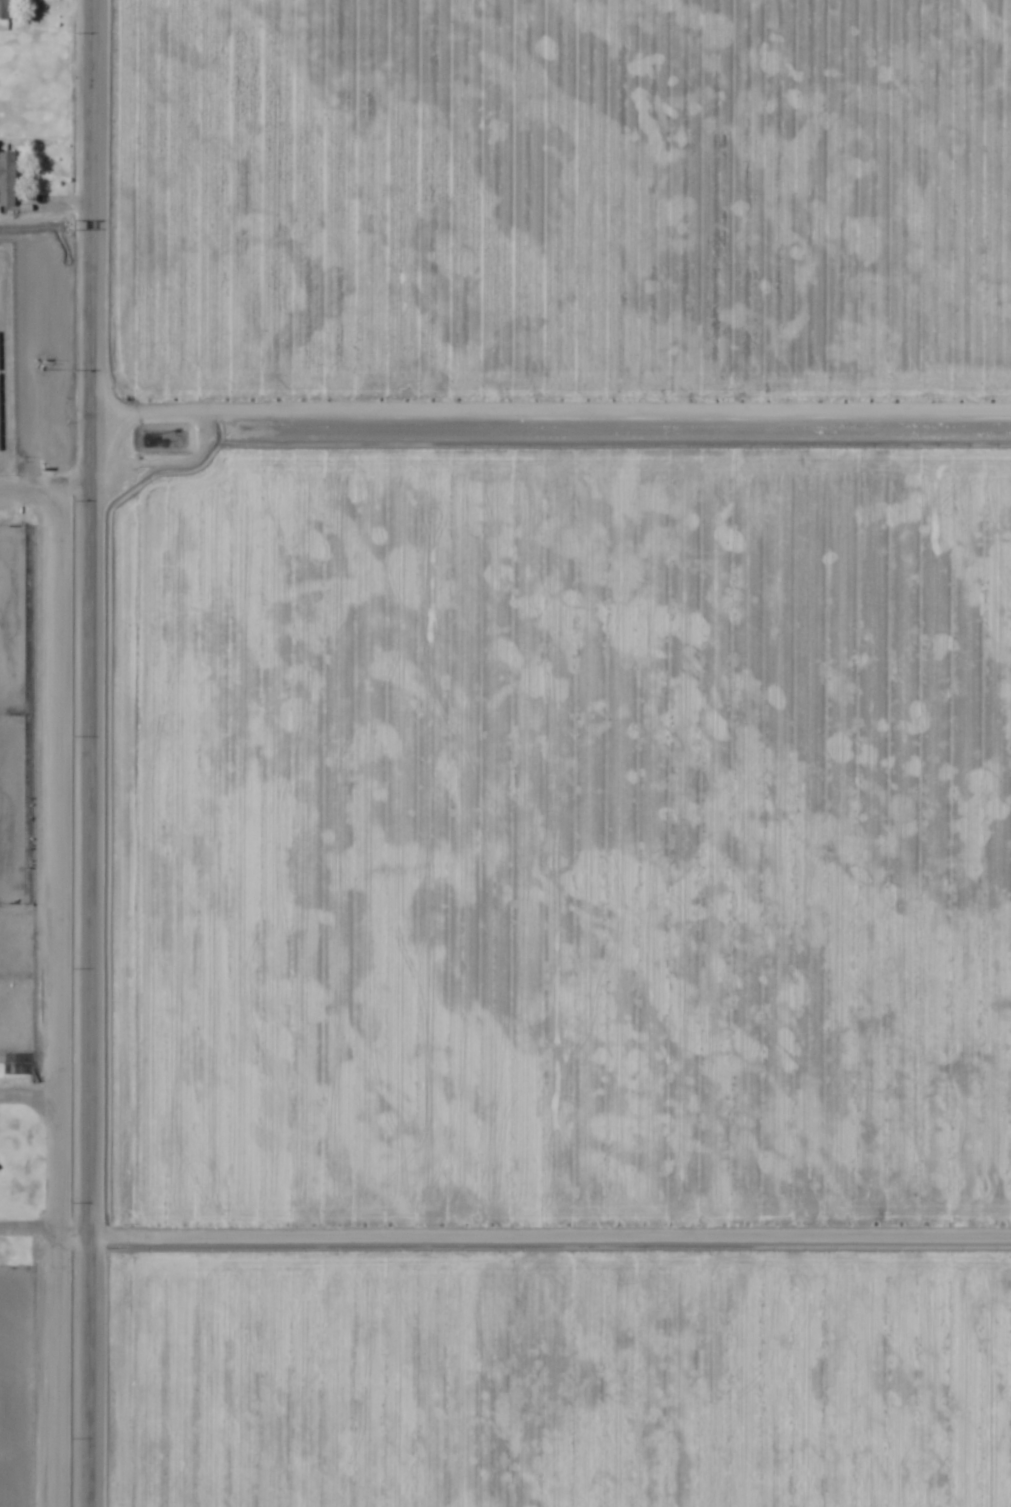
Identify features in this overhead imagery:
building: (4, 10)
building: (7, 180)
road: (551, 448)
road: (92, 753)
road: (551, 1287)

